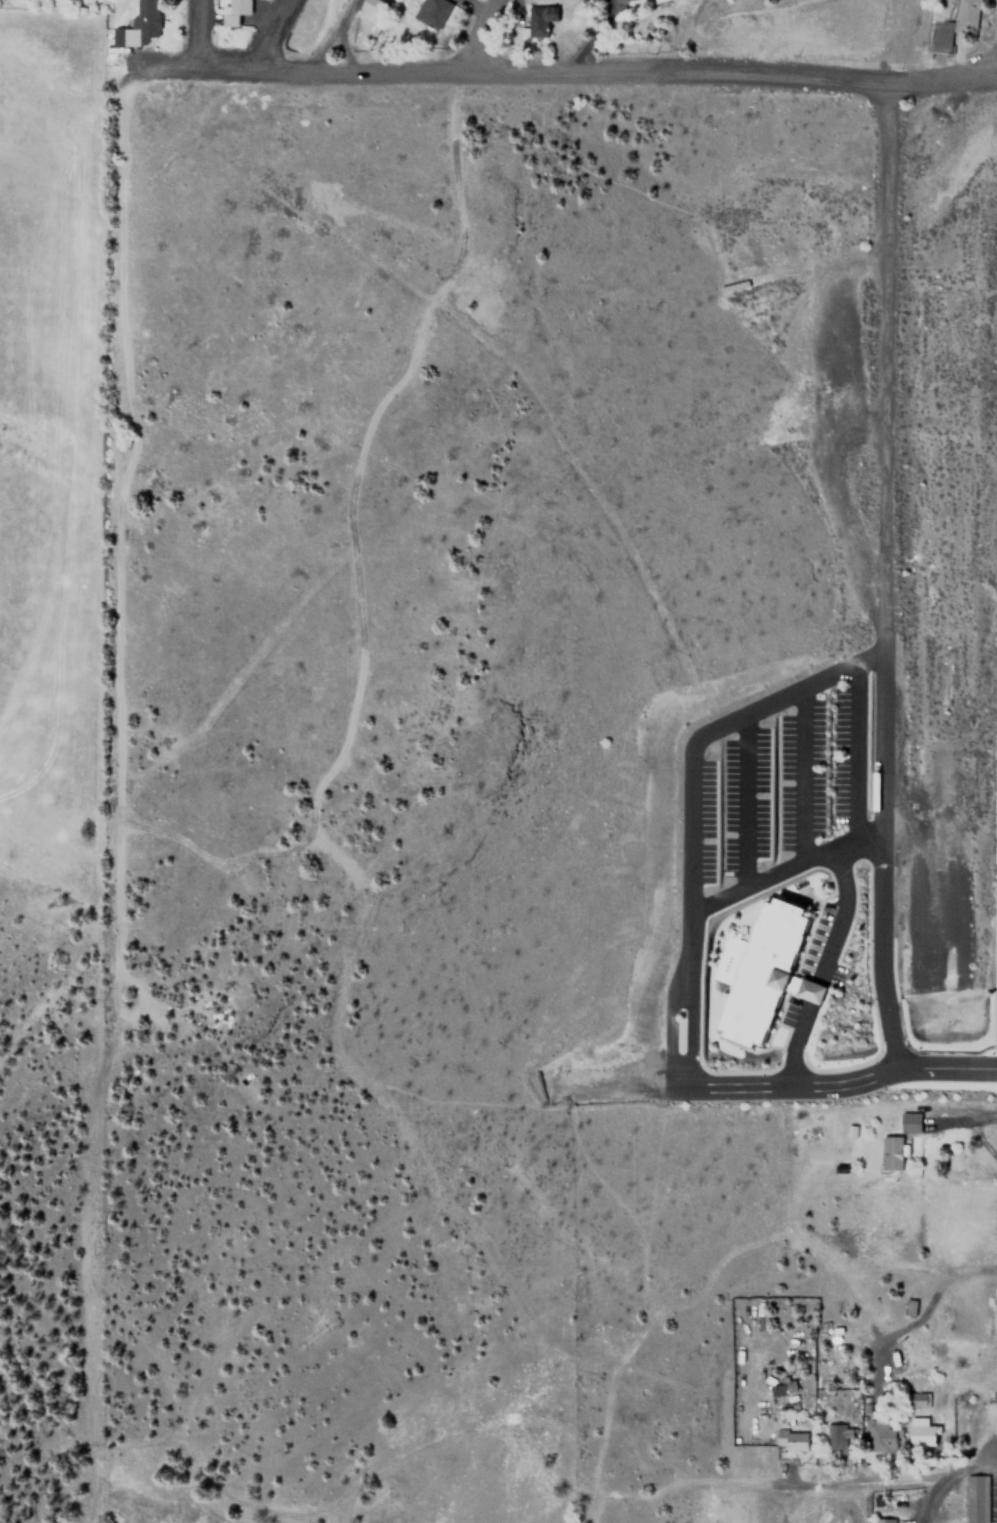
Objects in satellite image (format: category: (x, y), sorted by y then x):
building: (618, 0)
building: (375, 9)
building: (233, 11)
building: (430, 11)
building: (539, 19)
building: (139, 25)
building: (954, 25)
road: (198, 31)
road: (274, 32)
road: (481, 34)
road: (143, 64)
road: (598, 71)
road: (882, 574)
road: (853, 752)
road: (687, 753)
parking lot: (765, 775)
road: (799, 775)
road: (742, 800)
road: (782, 866)
road: (838, 914)
building: (762, 971)
road: (813, 989)
road: (658, 1027)
road: (679, 1031)
road: (792, 1040)
road: (944, 1067)
road: (607, 1084)
road: (777, 1085)
building: (912, 1122)
building: (892, 1152)
building: (948, 1201)
building: (783, 1388)
building: (881, 1434)
building: (921, 1434)
building: (836, 1438)
building: (790, 1440)
building: (976, 1499)
building: (881, 1519)

